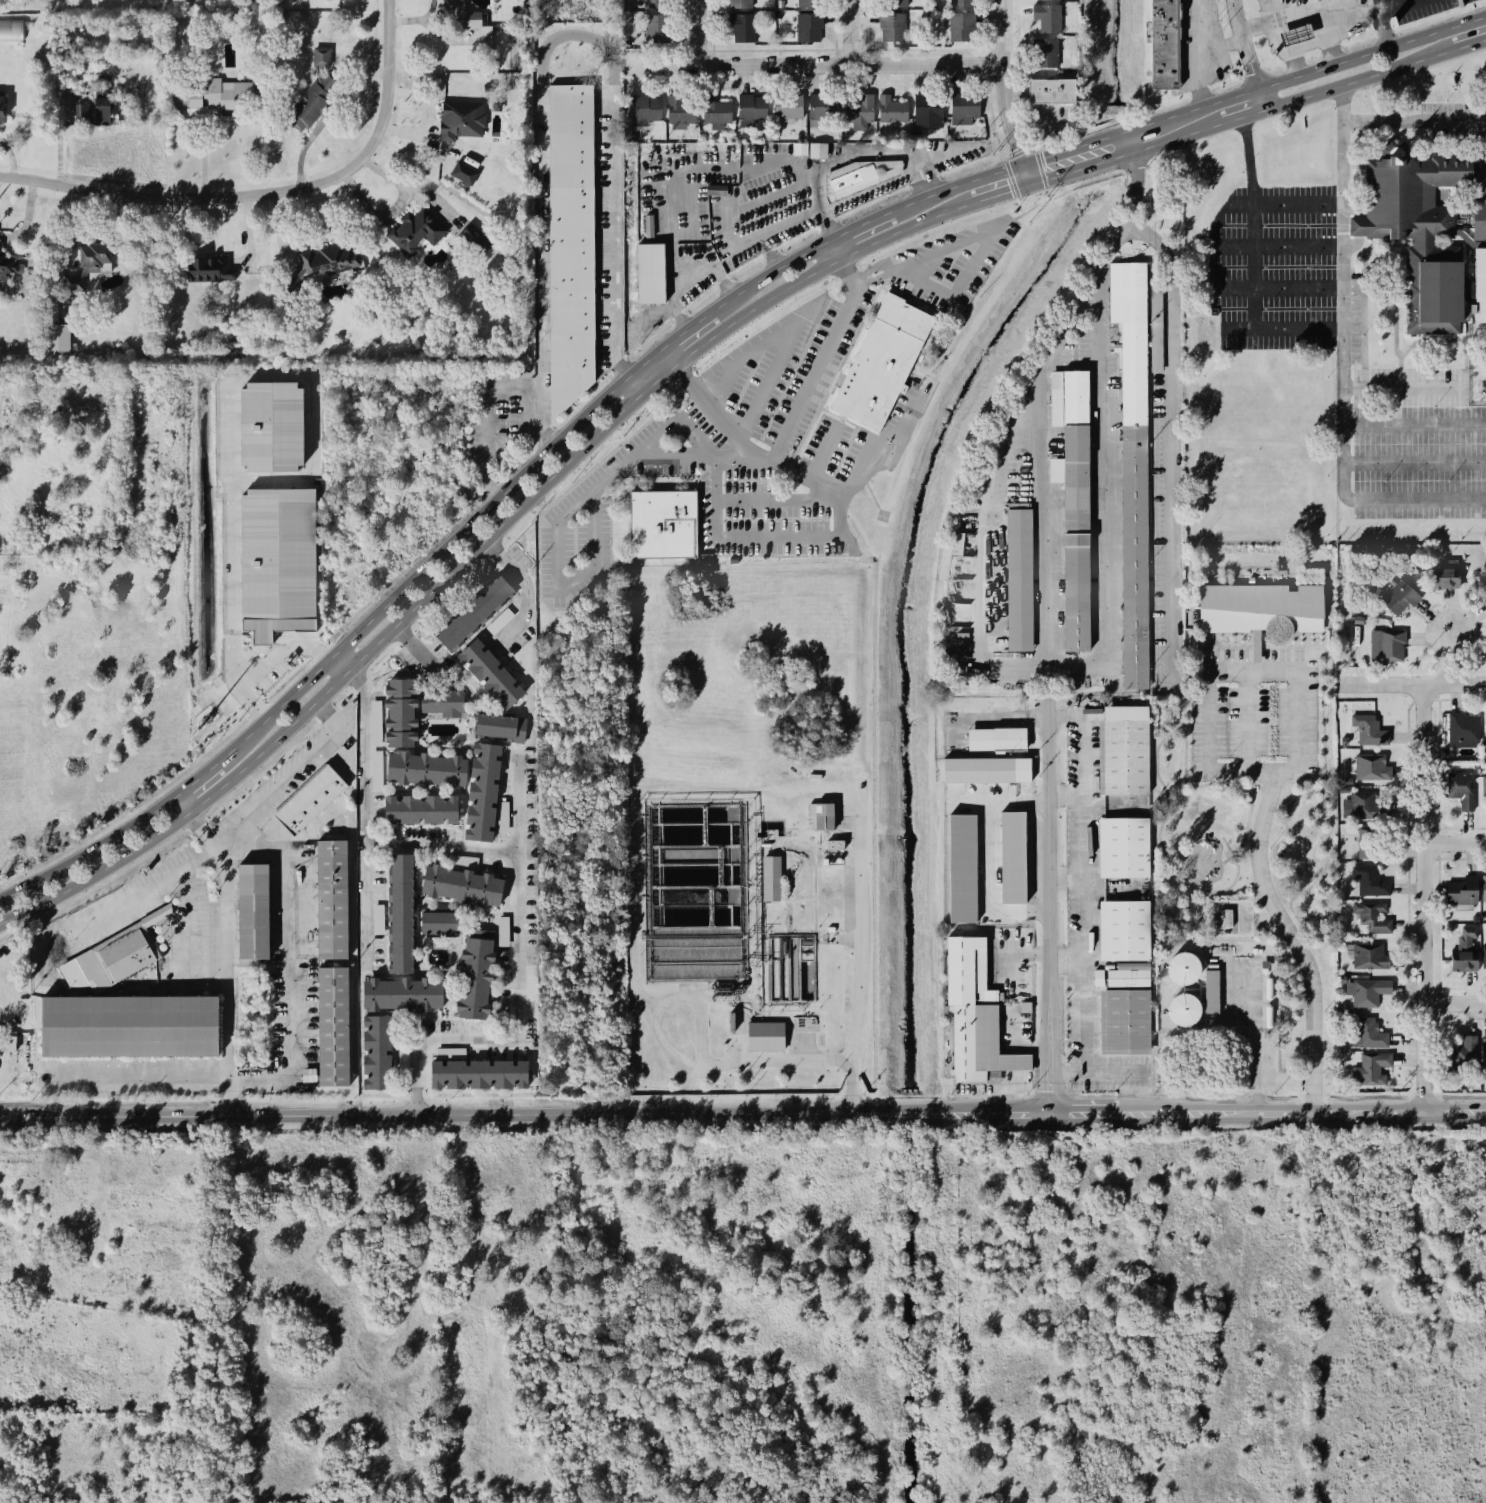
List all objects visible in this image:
building: (808, 3)
building: (962, 3)
road: (1377, 3)
building: (325, 4)
building: (655, 4)
building: (740, 4)
building: (892, 4)
road: (386, 6)
street lamp: (1255, 10)
building: (460, 13)
building: (1048, 16)
road: (1335, 17)
street lamp: (1366, 21)
building: (962, 26)
building: (743, 27)
building: (808, 27)
building: (891, 27)
building: (656, 28)
road: (1382, 28)
building: (10, 29)
road: (850, 31)
road: (694, 32)
building: (1295, 35)
gas station: (1295, 37)
street lamp: (1344, 39)
road: (1223, 44)
building: (1163, 45)
road: (1469, 45)
road: (882, 47)
road: (1286, 51)
road: (1331, 51)
building: (1049, 52)
road: (1252, 53)
road: (1197, 54)
building: (320, 56)
road: (1293, 63)
road: (811, 64)
road: (1322, 68)
road: (1359, 80)
building: (486, 86)
building: (1052, 90)
road: (1002, 94)
building: (224, 95)
road: (1019, 96)
building: (313, 99)
building: (101, 103)
building: (786, 105)
building: (858, 107)
building: (644, 108)
building: (891, 108)
building: (2, 109)
building: (678, 109)
building: (750, 109)
building: (819, 109)
building: (928, 109)
building: (965, 109)
building: (714, 110)
building: (81, 112)
road: (1242, 115)
building: (460, 119)
parking lot: (1453, 119)
road: (1416, 120)
road: (1143, 126)
road: (1129, 142)
road: (1074, 148)
building: (817, 150)
road: (847, 155)
road: (1124, 155)
road: (11, 157)
traffic signals: (1023, 166)
building: (463, 172)
road: (694, 173)
road: (990, 176)
building: (857, 178)
traffic signals: (1030, 185)
road: (540, 187)
building: (716, 189)
road: (259, 192)
road: (996, 195)
road: (923, 197)
road: (1287, 202)
road: (1013, 216)
road: (858, 224)
road: (1129, 225)
building: (415, 230)
building: (1428, 233)
building: (475, 237)
road: (614, 239)
building: (570, 244)
road: (1281, 247)
road: (942, 248)
building: (94, 254)
building: (326, 259)
road: (838, 260)
building: (6, 264)
building: (208, 268)
road: (1253, 268)
parking lot: (940, 269)
road: (766, 272)
building: (650, 273)
road: (811, 273)
road: (690, 277)
road: (871, 277)
building: (291, 281)
building: (73, 283)
road: (1281, 289)
road: (681, 328)
building: (1156, 328)
building: (54, 330)
road: (1237, 330)
road: (691, 336)
parking lot: (1346, 352)
building: (881, 362)
road: (1345, 362)
road: (813, 371)
parking lot: (798, 385)
road: (229, 390)
road: (750, 410)
road: (1100, 410)
road: (484, 418)
road: (1415, 424)
building: (271, 426)
road: (1169, 443)
road: (760, 454)
building: (1132, 459)
road: (1414, 461)
parking lot: (750, 492)
building: (1074, 498)
road: (779, 499)
road: (557, 514)
helipad: (881, 514)
helipad: (879, 515)
building: (662, 522)
road: (760, 536)
road: (981, 545)
road: (438, 552)
building: (277, 561)
road: (1043, 562)
building: (1440, 574)
building: (1019, 579)
road: (529, 586)
building: (1482, 588)
building: (1393, 594)
building: (1483, 605)
building: (1256, 606)
building: (474, 612)
building: (1384, 644)
road: (416, 645)
road: (1446, 659)
road: (265, 663)
road: (337, 664)
road: (352, 664)
road: (1208, 671)
building: (490, 674)
road: (1332, 683)
road: (1413, 685)
building: (441, 702)
road: (1322, 709)
building: (400, 712)
road: (1246, 719)
building: (498, 727)
building: (1462, 729)
building: (1368, 730)
building: (998, 739)
building: (1485, 741)
building: (1124, 750)
road: (305, 761)
building: (1371, 766)
building: (425, 768)
building: (986, 769)
road: (1310, 775)
road: (197, 776)
road: (1197, 776)
park: (1254, 779)
road: (1228, 784)
building: (1461, 788)
building: (1484, 788)
building: (483, 791)
road: (1065, 792)
building: (309, 800)
building: (1366, 804)
road: (179, 805)
building: (421, 808)
road: (362, 811)
building: (821, 815)
road: (1459, 826)
road: (1454, 840)
building: (1371, 841)
road: (1435, 843)
road: (440, 844)
building: (834, 844)
building: (1123, 847)
road: (88, 851)
road: (988, 857)
building: (1014, 857)
road: (1462, 858)
road: (192, 859)
road: (1168, 863)
building: (962, 866)
building: (771, 876)
road: (1066, 876)
building: (1369, 880)
building: (463, 884)
road: (1047, 888)
building: (1484, 888)
building: (1462, 891)
road: (1086, 894)
road: (1422, 897)
building: (331, 900)
building: (400, 913)
building: (253, 915)
road: (1298, 915)
building: (1372, 916)
building: (1225, 918)
building: (441, 921)
road: (1439, 921)
building: (1123, 930)
road: (195, 933)
wastewater plant: (749, 935)
road: (1290, 936)
building: (1463, 951)
building: (123, 953)
building: (1366, 955)
road: (226, 956)
building: (1483, 956)
road: (1067, 961)
storage tank: (1186, 965)
building: (1183, 967)
building: (1127, 977)
building: (475, 978)
road: (863, 981)
road: (517, 984)
road: (1460, 986)
storage tank: (1268, 987)
building: (1212, 989)
building: (1367, 991)
road: (1435, 1002)
road: (1454, 1002)
storage tank: (1186, 1007)
building: (1183, 1009)
storage tank: (1269, 1015)
road: (1460, 1017)
building: (388, 1018)
building: (1123, 1021)
building: (975, 1022)
building: (130, 1026)
building: (332, 1028)
building: (1367, 1032)
road: (704, 1034)
building: (765, 1034)
building: (1460, 1052)
building: (1482, 1052)
road: (284, 1054)
road: (760, 1059)
building: (1371, 1069)
road: (1118, 1072)
building: (479, 1073)
road: (742, 1108)
road: (63, 1150)
building: (150, 1208)
road: (474, 1271)
building: (106, 1281)
building: (181, 1283)
building: (177, 1299)
building: (413, 1342)

